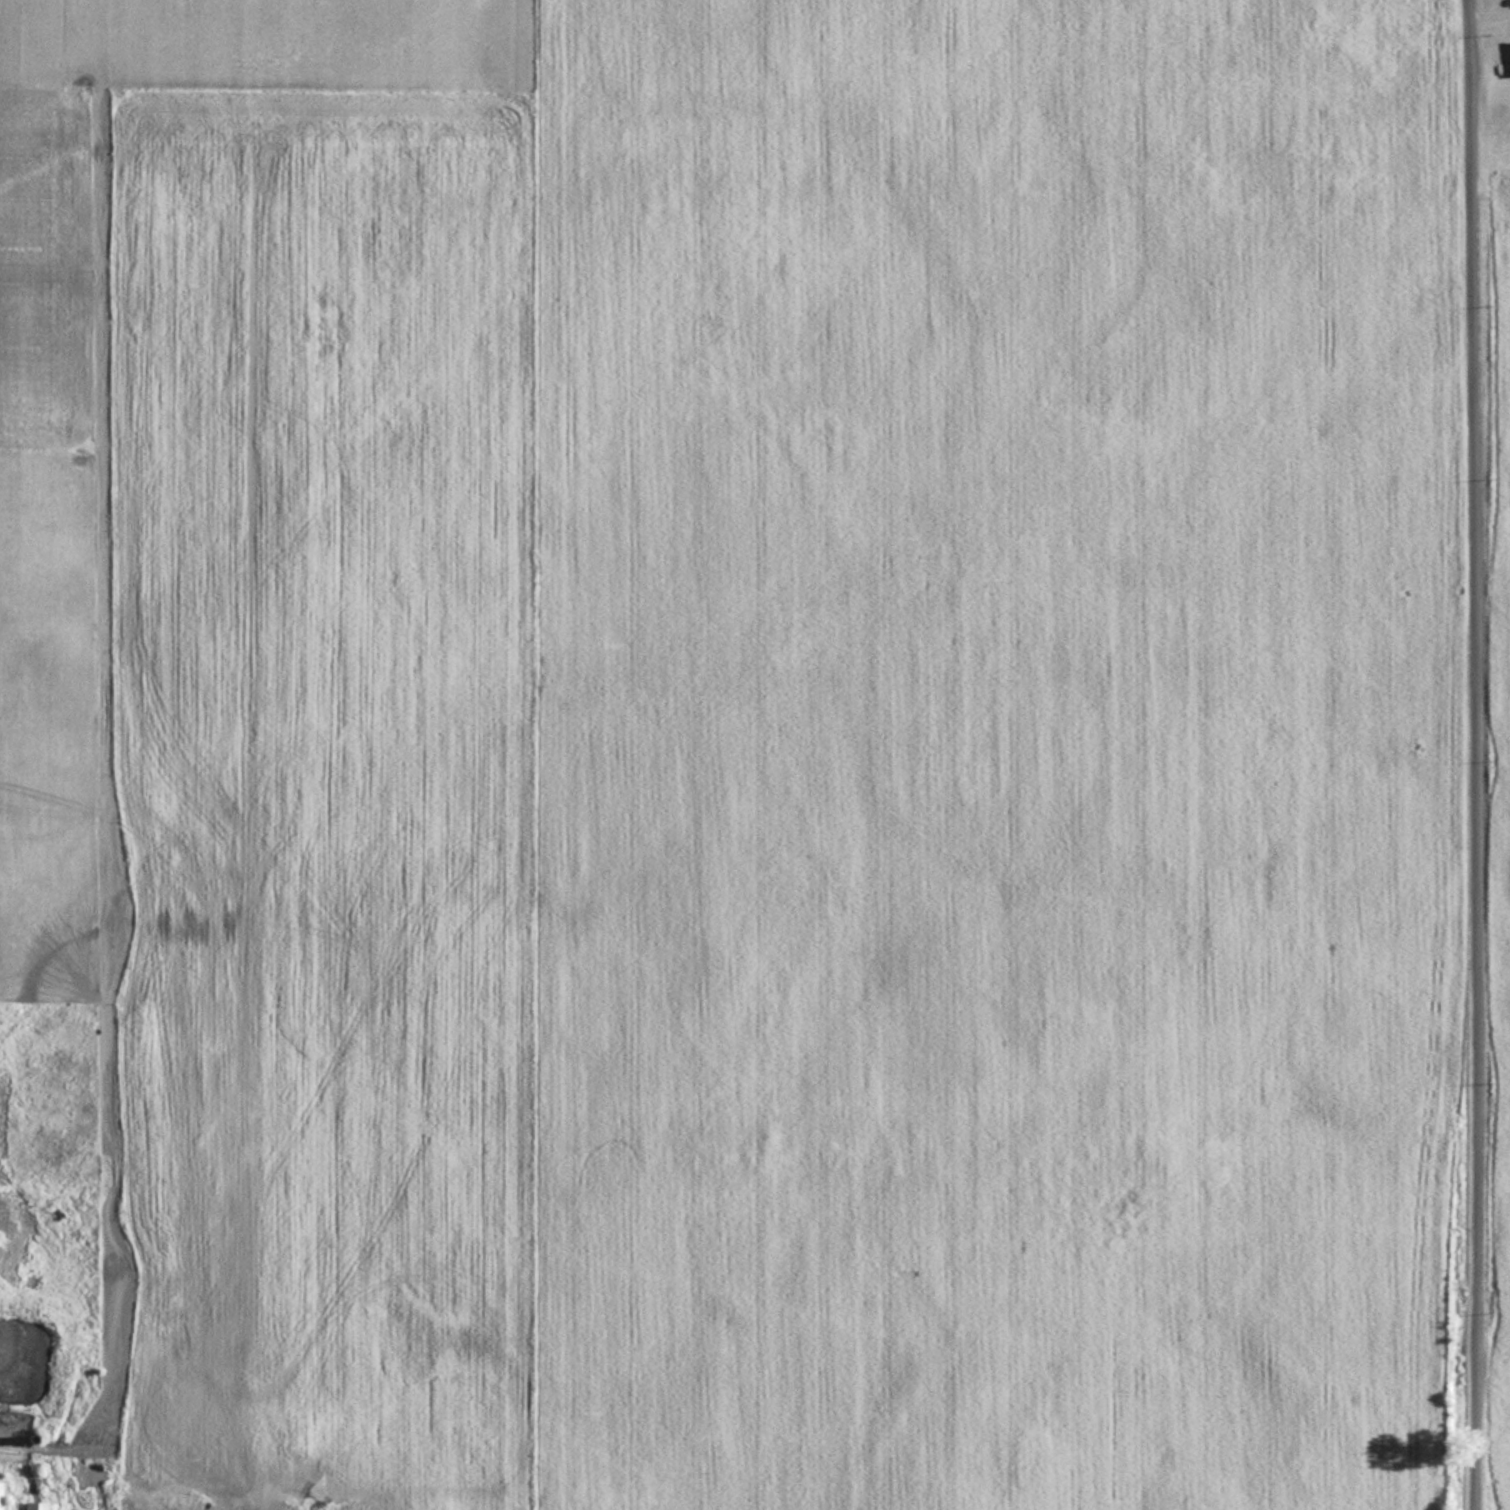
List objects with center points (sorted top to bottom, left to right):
road: (1477, 754)
building: (2, 1495)
building: (38, 1505)

